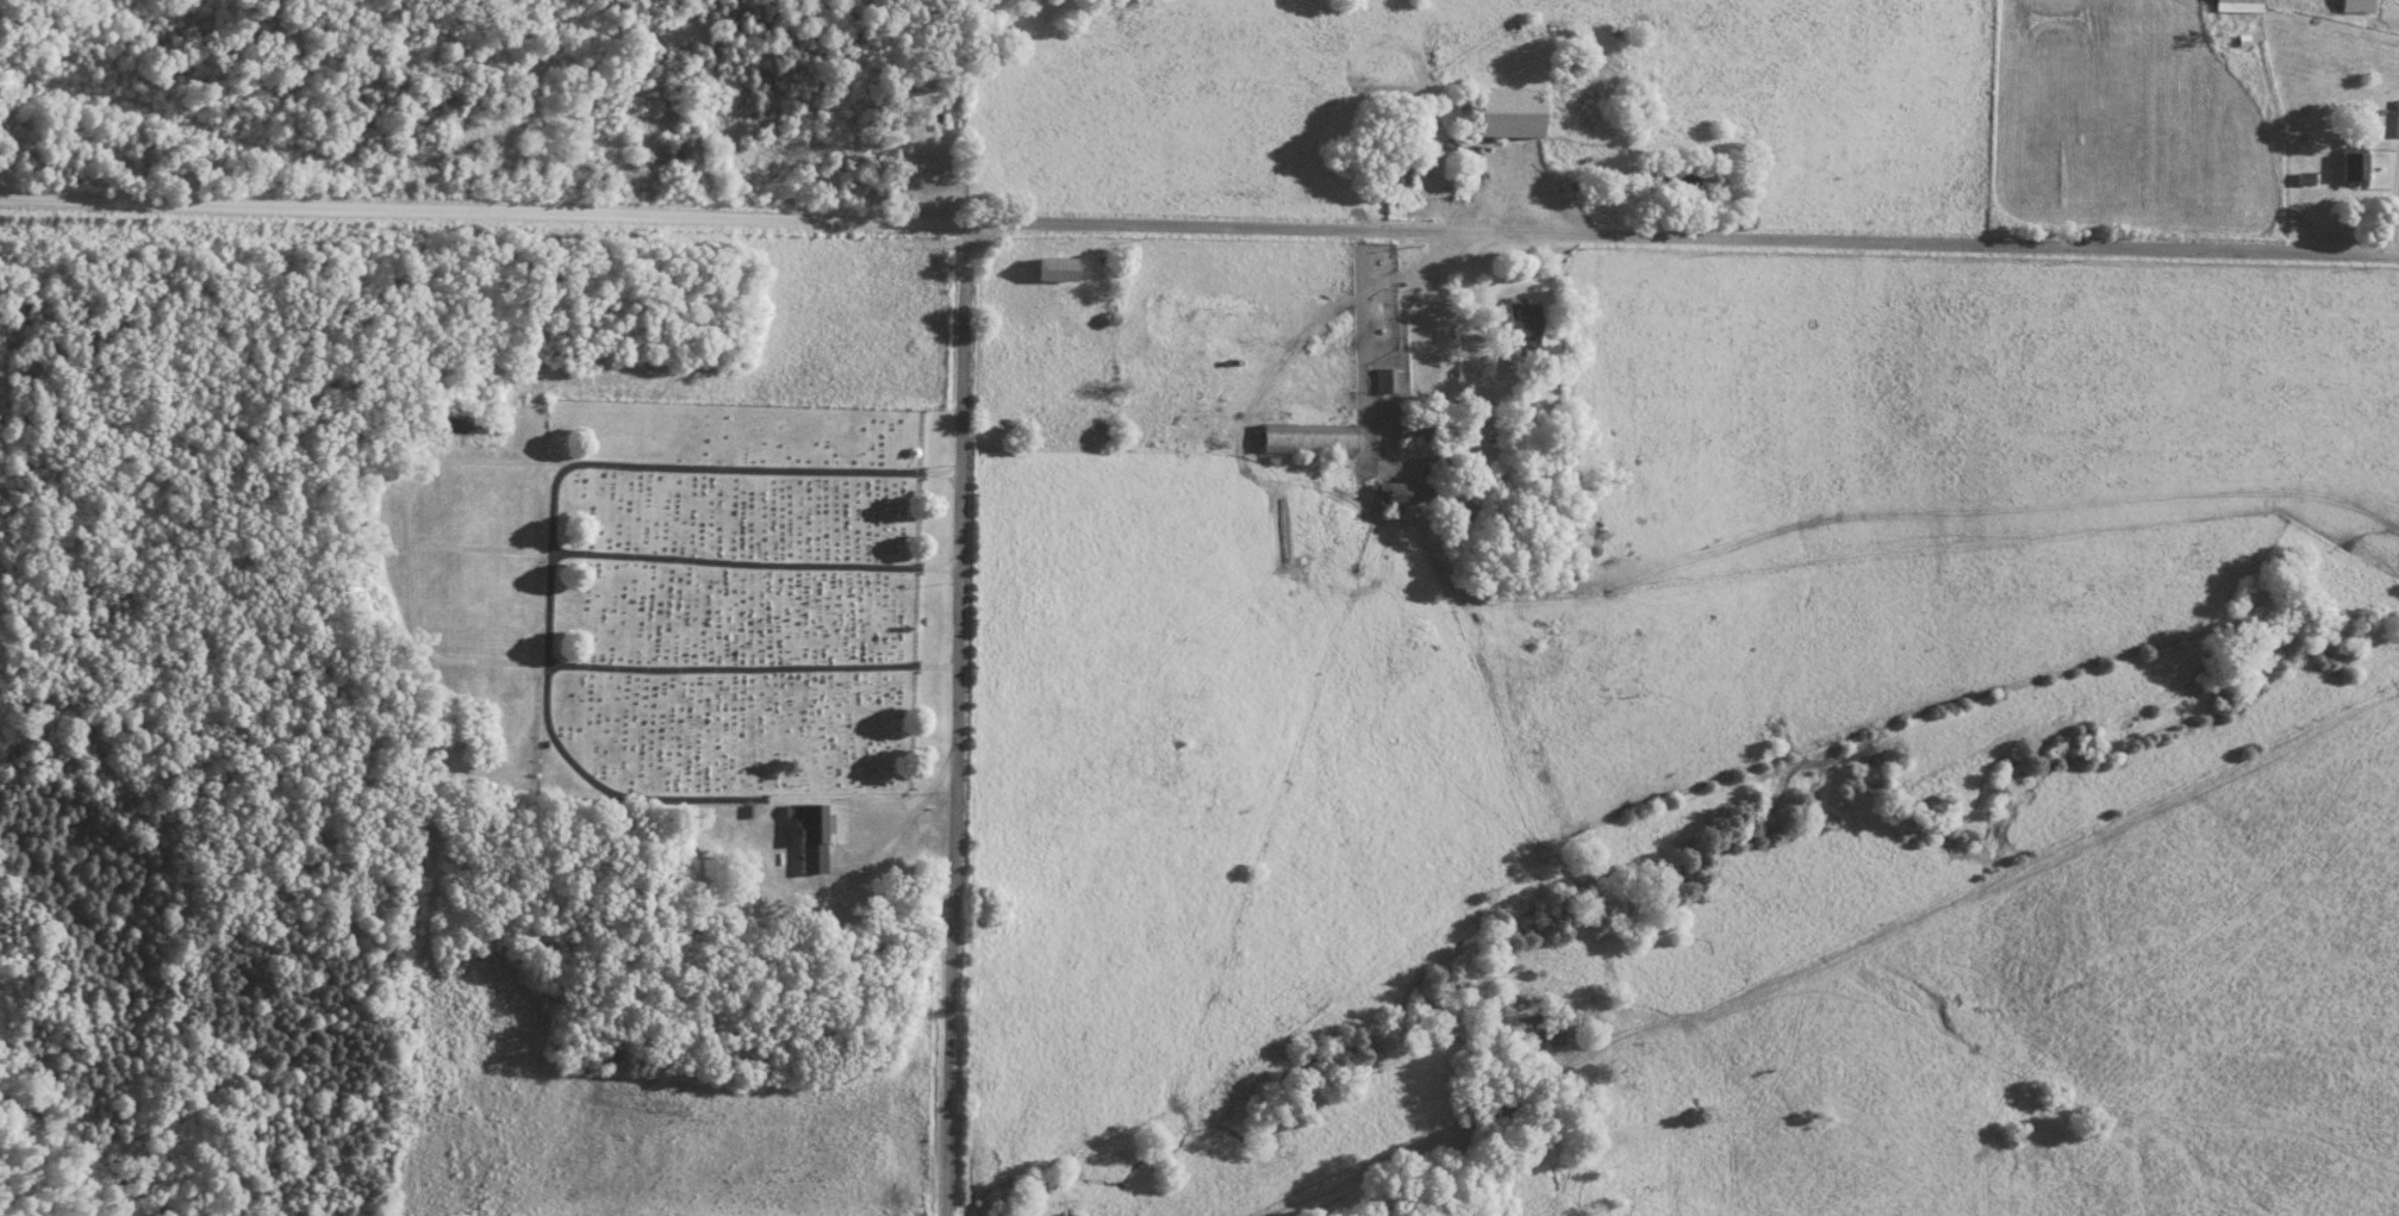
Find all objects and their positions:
building: (2236, 2)
building: (2354, 6)
building: (1503, 113)
building: (2395, 118)
building: (1433, 161)
building: (2349, 169)
building: (1389, 174)
building: (2304, 182)
road: (1198, 229)
building: (1061, 269)
building: (1516, 323)
road: (1470, 345)
building: (1387, 380)
building: (1409, 428)
building: (1303, 441)
building: (1382, 497)
park: (733, 605)
road: (962, 719)
building: (814, 834)

